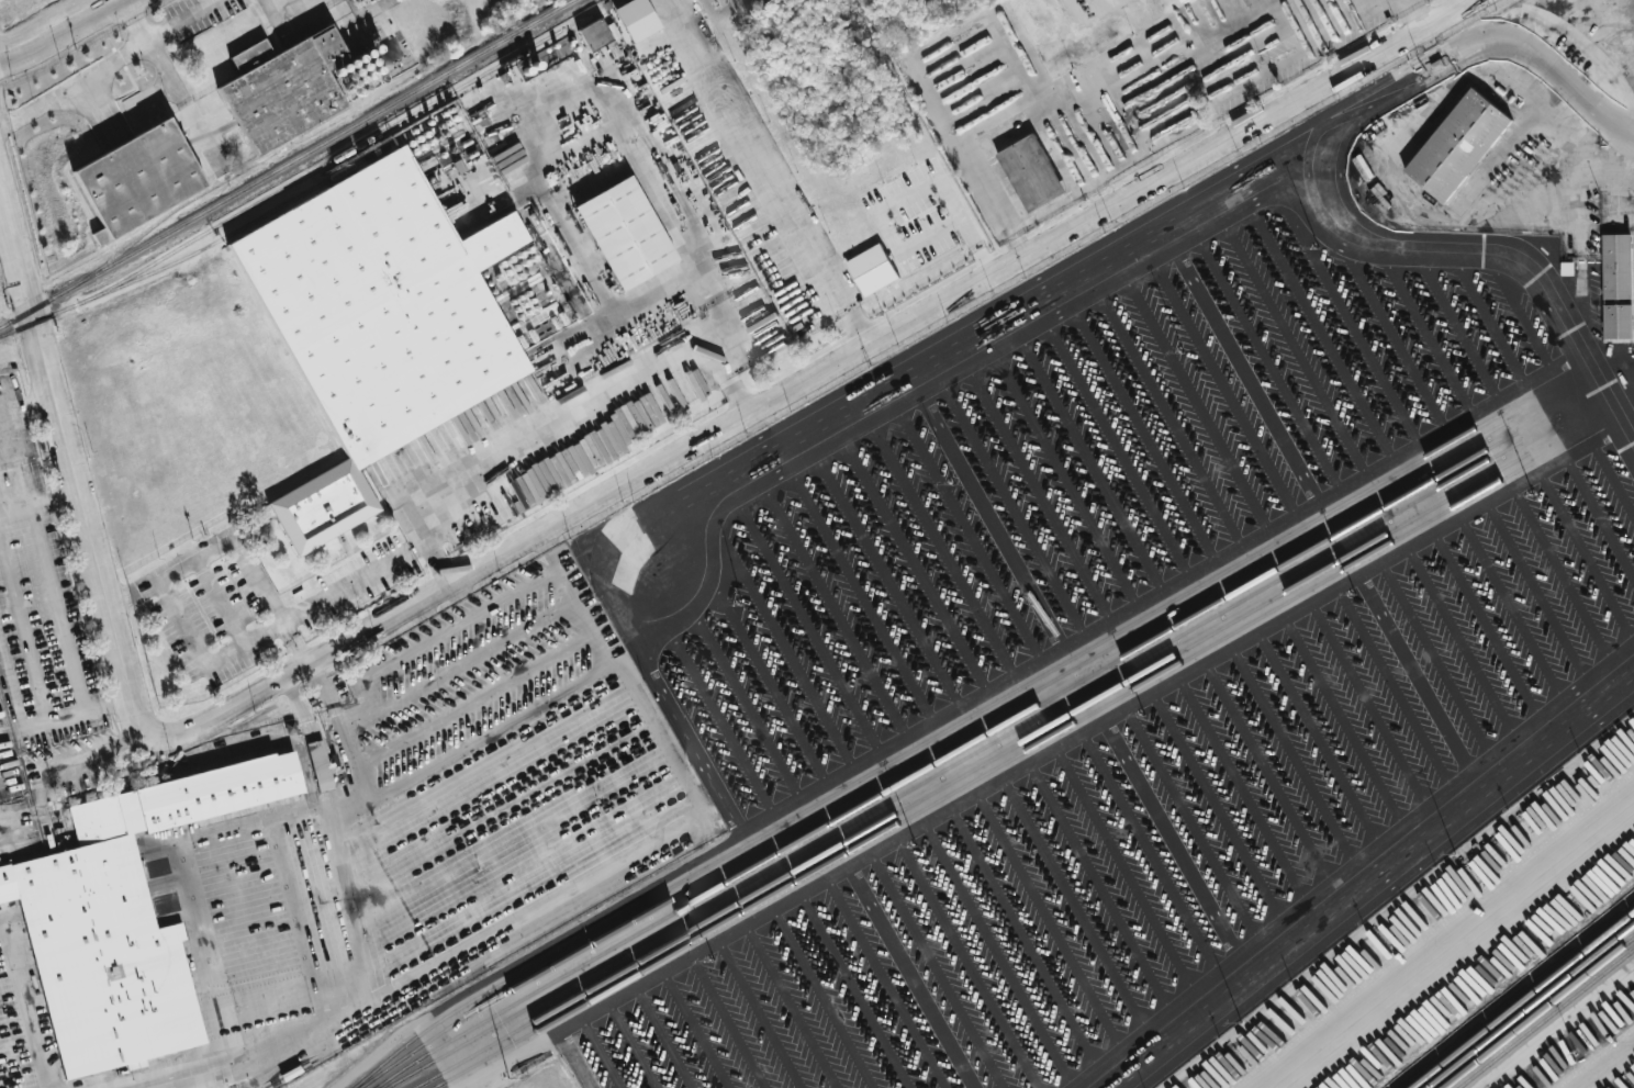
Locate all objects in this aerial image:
building: (1195, 1)
road: (1415, 15)
road: (184, 18)
building: (636, 19)
road: (1143, 22)
building: (594, 34)
road: (67, 36)
road: (1500, 42)
road: (969, 63)
road: (1285, 63)
road: (1189, 67)
road: (77, 82)
building: (292, 82)
road: (175, 83)
road: (1057, 125)
road: (1006, 126)
road: (1408, 133)
building: (1462, 143)
railway: (331, 160)
railway: (286, 164)
road: (1624, 168)
road: (980, 169)
road: (769, 172)
building: (1031, 172)
road: (1589, 175)
building: (137, 179)
road: (924, 186)
road: (1053, 205)
railway: (178, 211)
railway: (231, 235)
building: (626, 237)
road: (974, 249)
road: (910, 250)
road: (1447, 258)
building: (1620, 265)
building: (872, 269)
road: (1579, 291)
building: (387, 311)
building: (1620, 322)
railway: (26, 324)
road: (1238, 361)
road: (817, 374)
road: (734, 375)
road: (29, 411)
road: (812, 425)
road: (569, 426)
road: (1625, 442)
road: (72, 463)
road: (40, 503)
road: (439, 546)
road: (172, 574)
road: (1536, 591)
road: (1160, 594)
road: (226, 599)
road: (320, 602)
road: (271, 603)
road: (1511, 607)
road: (56, 609)
road: (181, 624)
road: (1487, 624)
road: (434, 625)
road: (1462, 641)
road: (1435, 659)
railway: (1099, 669)
road: (36, 675)
road: (1394, 686)
road: (302, 708)
road: (337, 715)
road: (1344, 720)
railway: (1076, 725)
road: (1320, 737)
road: (1060, 745)
railway: (964, 760)
railway: (981, 762)
building: (320, 765)
road: (320, 766)
road: (1243, 788)
road: (329, 801)
road: (1218, 806)
road: (1194, 822)
road: (1352, 865)
building: (124, 919)
road: (350, 920)
railway: (670, 933)
road: (1451, 942)
road: (205, 965)
road: (479, 966)
road: (910, 977)
railway: (1515, 995)
railway: (1524, 1001)
railway: (1532, 1007)
road: (26, 1008)
railway: (1540, 1013)
railway: (521, 1019)
railway: (1546, 1019)
road: (1564, 1031)
road: (1605, 1065)
road: (189, 1075)

